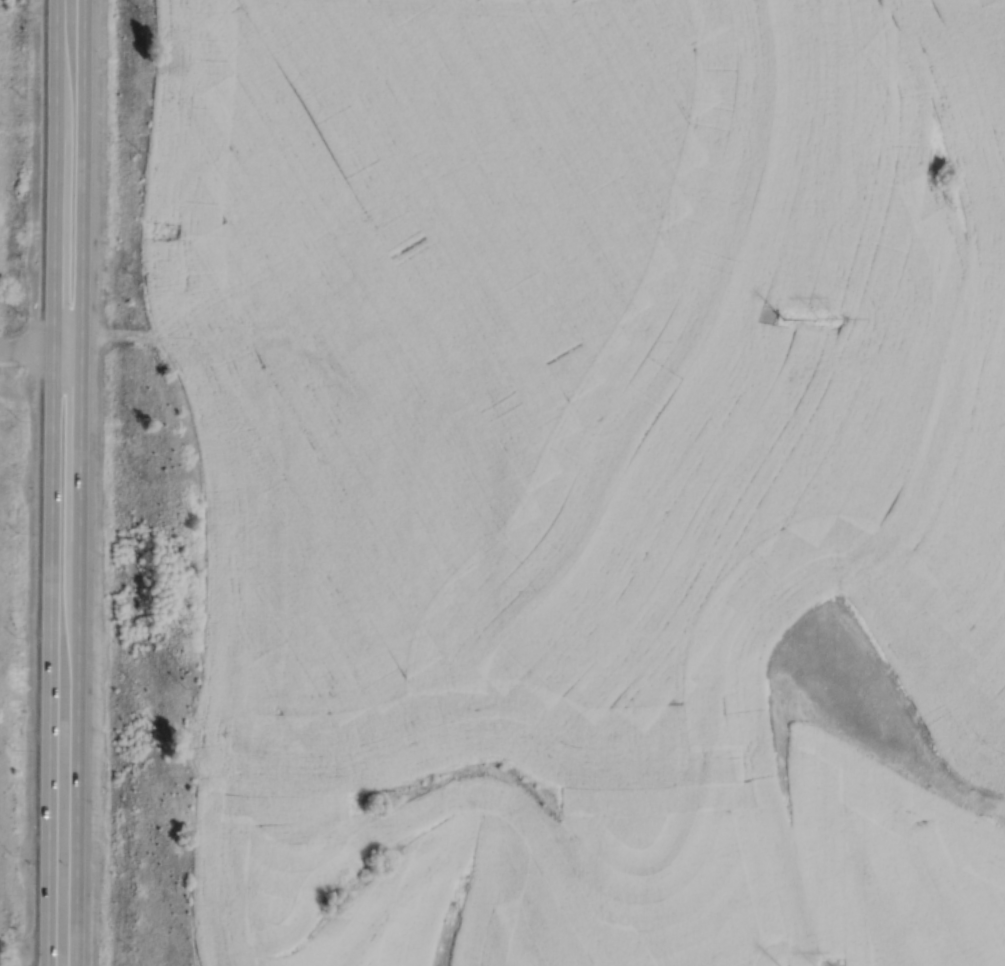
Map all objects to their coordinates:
power tower: (784, 318)
power tower: (824, 319)
road: (40, 350)
crop: (588, 476)
road: (51, 482)
road: (79, 483)

